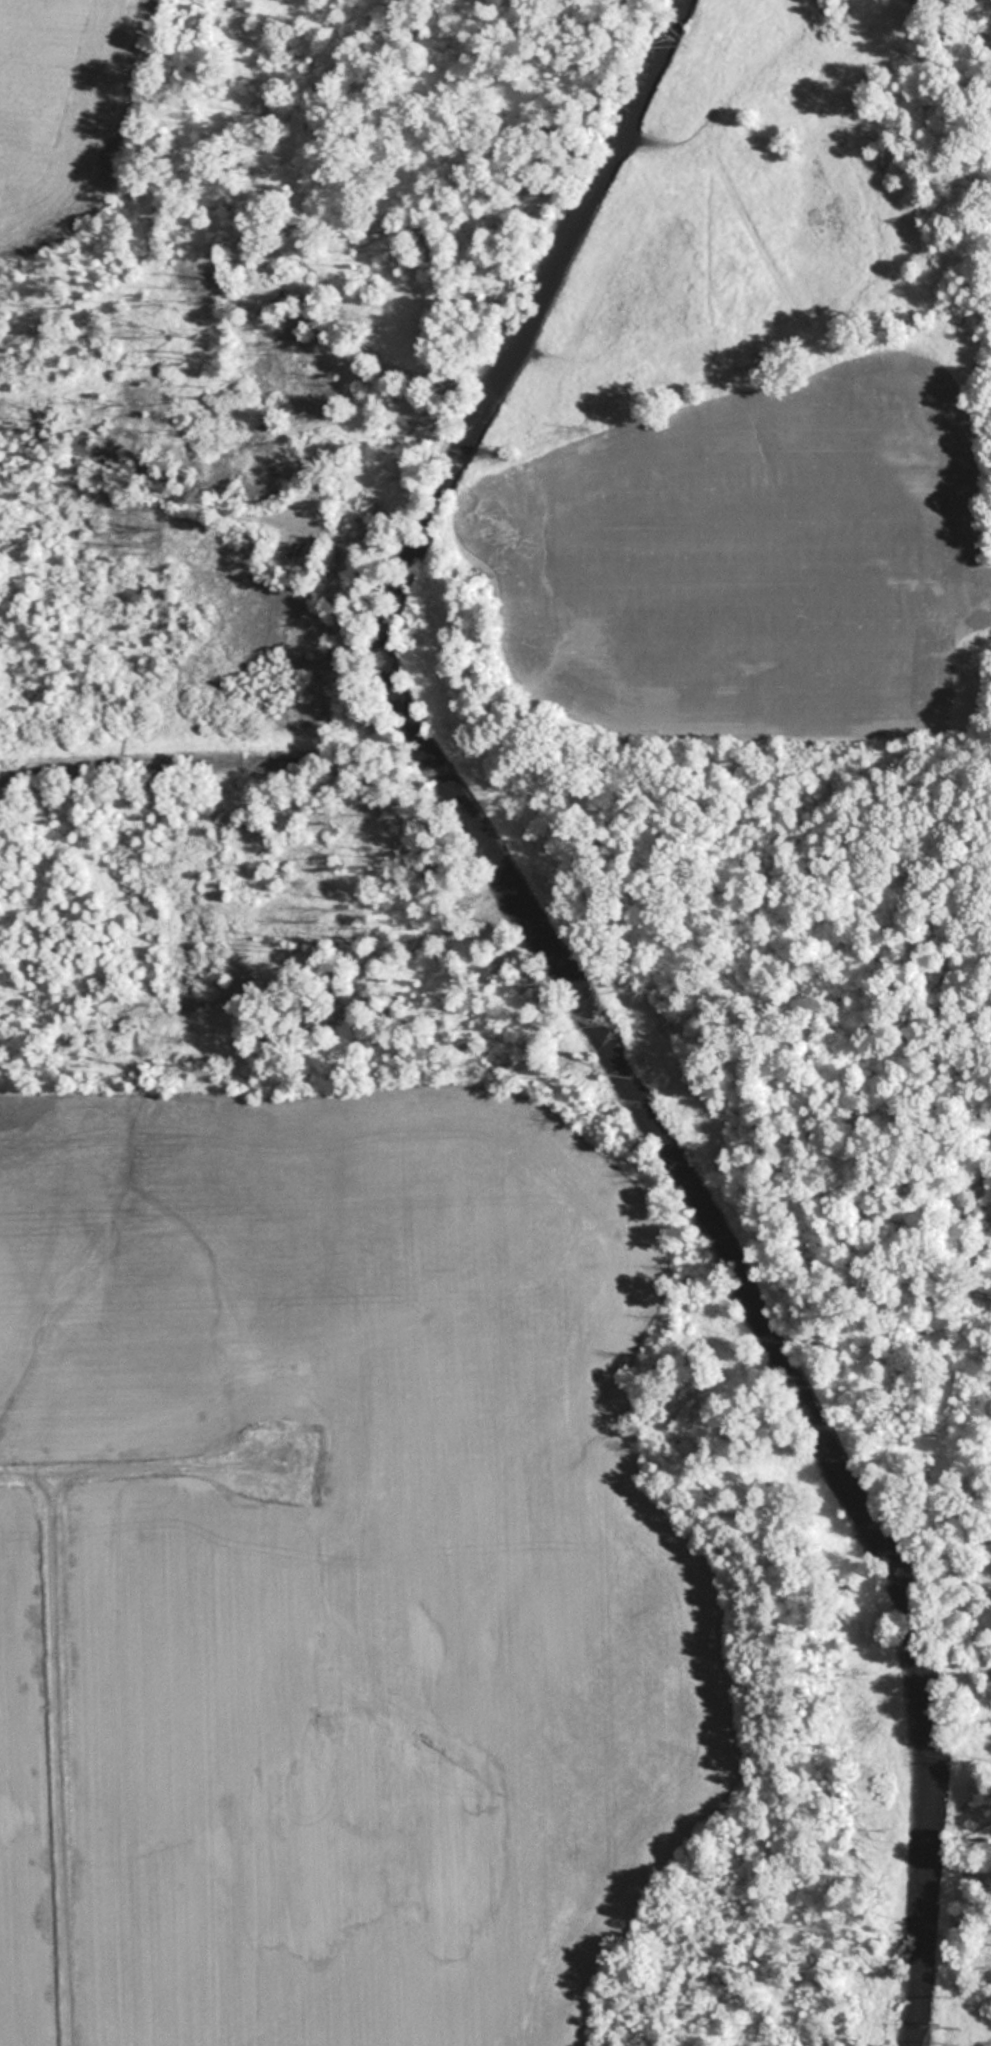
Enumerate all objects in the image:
road: (142, 486)
petroleum well: (295, 549)
river: (579, 1005)
road: (138, 1469)
road: (58, 1759)

